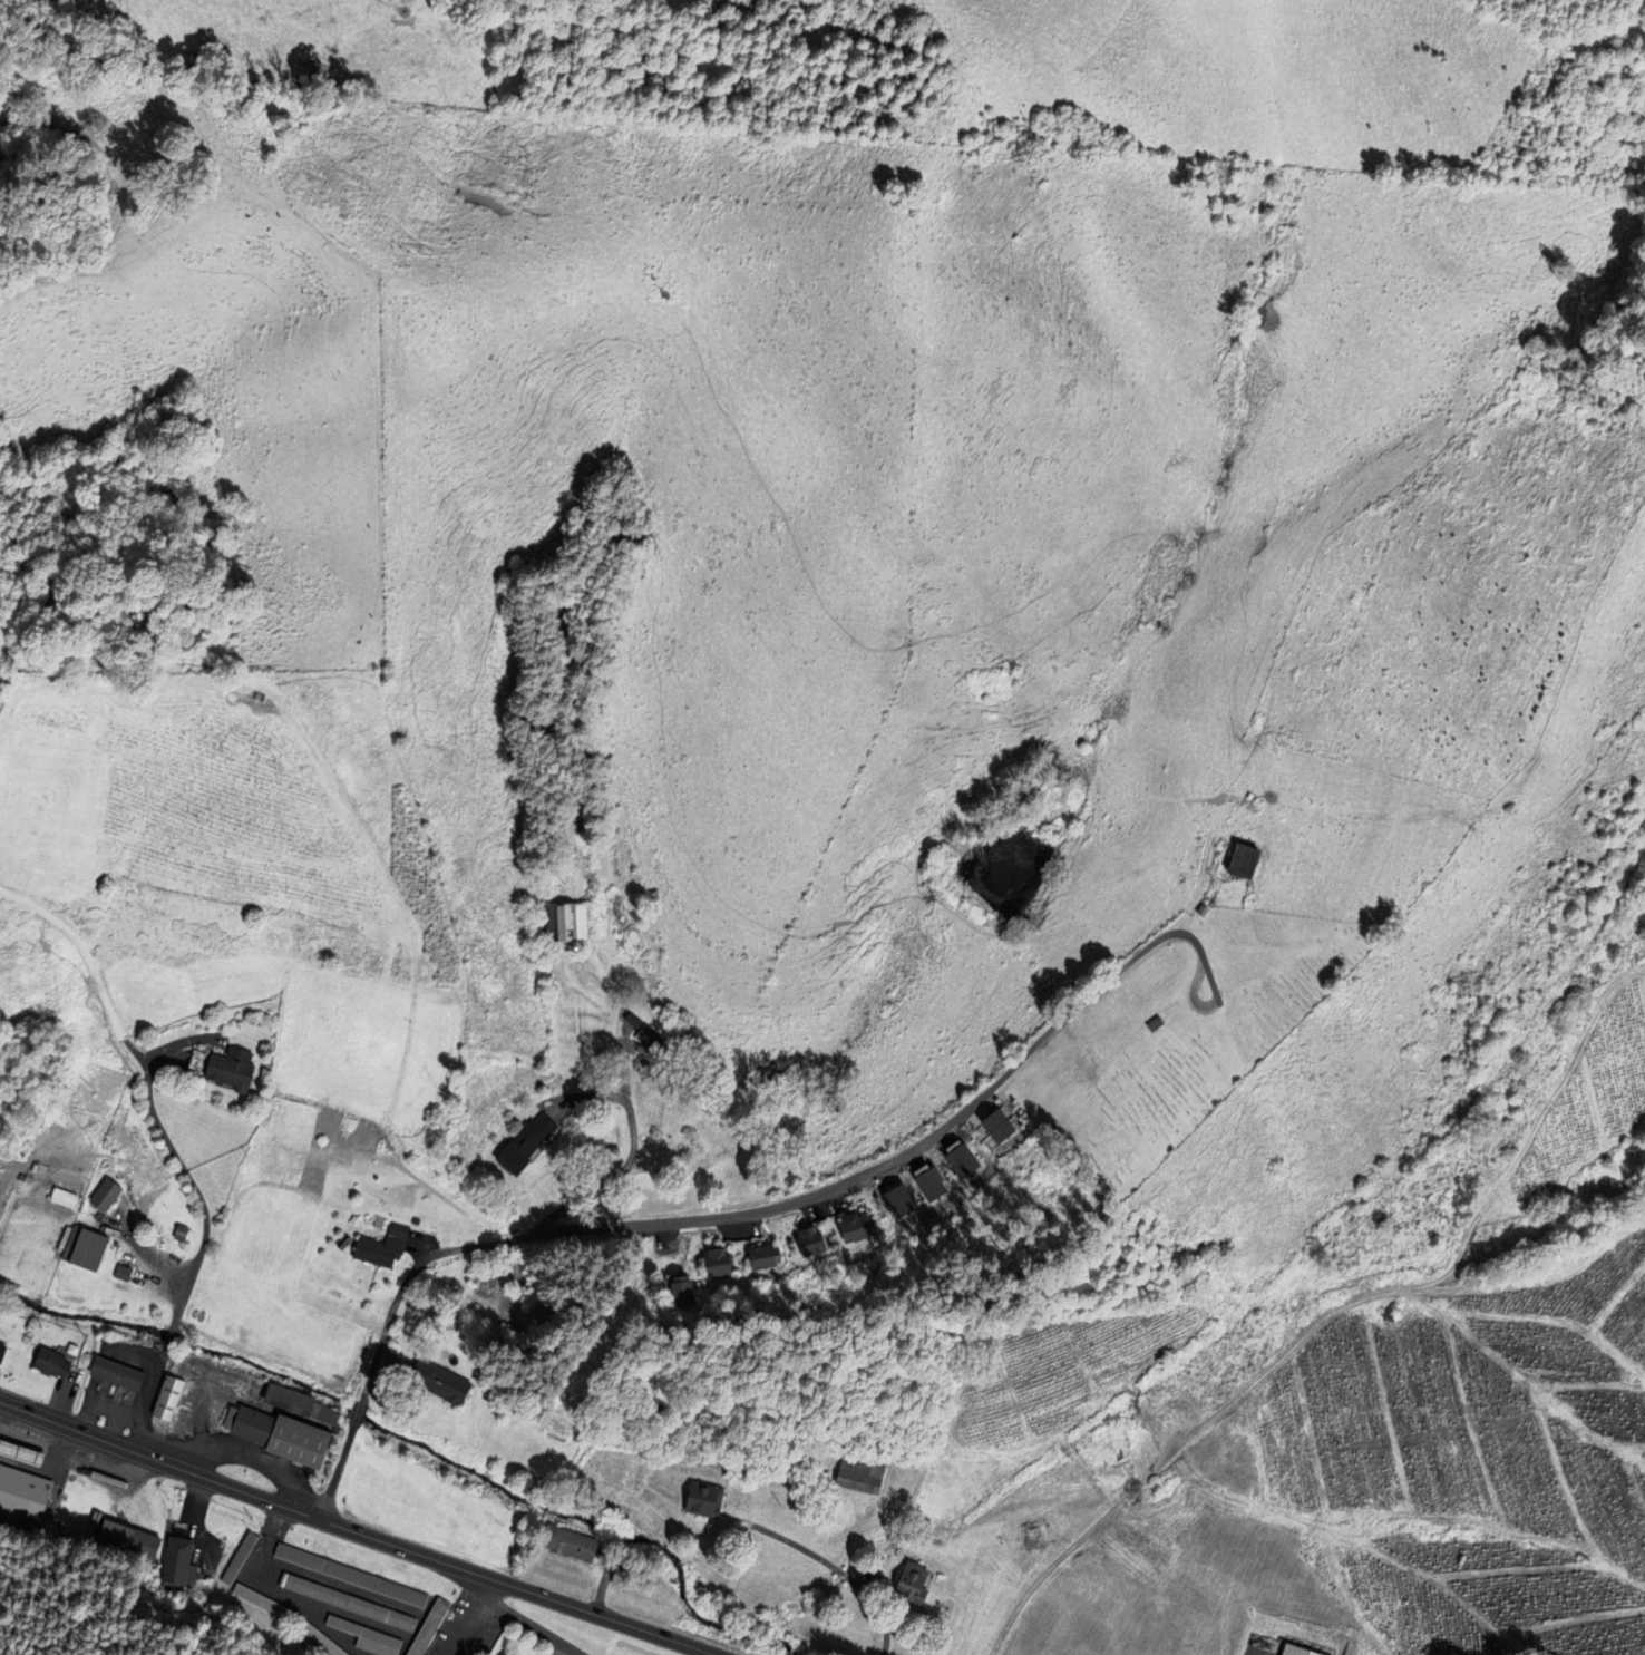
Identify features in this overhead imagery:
building: (1239, 860)
dam: (972, 897)
building: (566, 921)
road: (1193, 990)
building: (1152, 1022)
park: (1179, 1038)
building: (652, 1043)
building: (232, 1068)
road: (587, 1096)
building: (994, 1126)
building: (522, 1142)
road: (631, 1152)
building: (962, 1160)
road: (185, 1172)
building: (931, 1184)
building: (107, 1194)
road: (808, 1197)
building: (898, 1200)
building: (851, 1228)
building: (809, 1243)
building: (382, 1246)
building: (90, 1248)
building: (760, 1256)
building: (714, 1263)
building: (678, 1293)
building: (1392, 1314)
road: (168, 1336)
building: (2, 1351)
building: (49, 1361)
building: (118, 1371)
building: (440, 1380)
road: (145, 1398)
building: (168, 1398)
building: (301, 1403)
road: (358, 1410)
building: (254, 1424)
building: (299, 1441)
road: (1182, 1443)
building: (22, 1452)
gas station: (22, 1452)
road: (337, 1468)
building: (858, 1473)
building: (22, 1496)
building: (701, 1498)
road: (357, 1530)
building: (132, 1539)
building: (571, 1541)
building: (240, 1558)
building: (177, 1560)
building: (349, 1574)
building: (909, 1584)
building: (261, 1600)
building: (348, 1602)
road: (522, 1619)
building: (428, 1627)
building: (318, 1635)
building: (367, 1636)
building: (1294, 1649)
building: (506, 1653)
building: (502, 1654)

